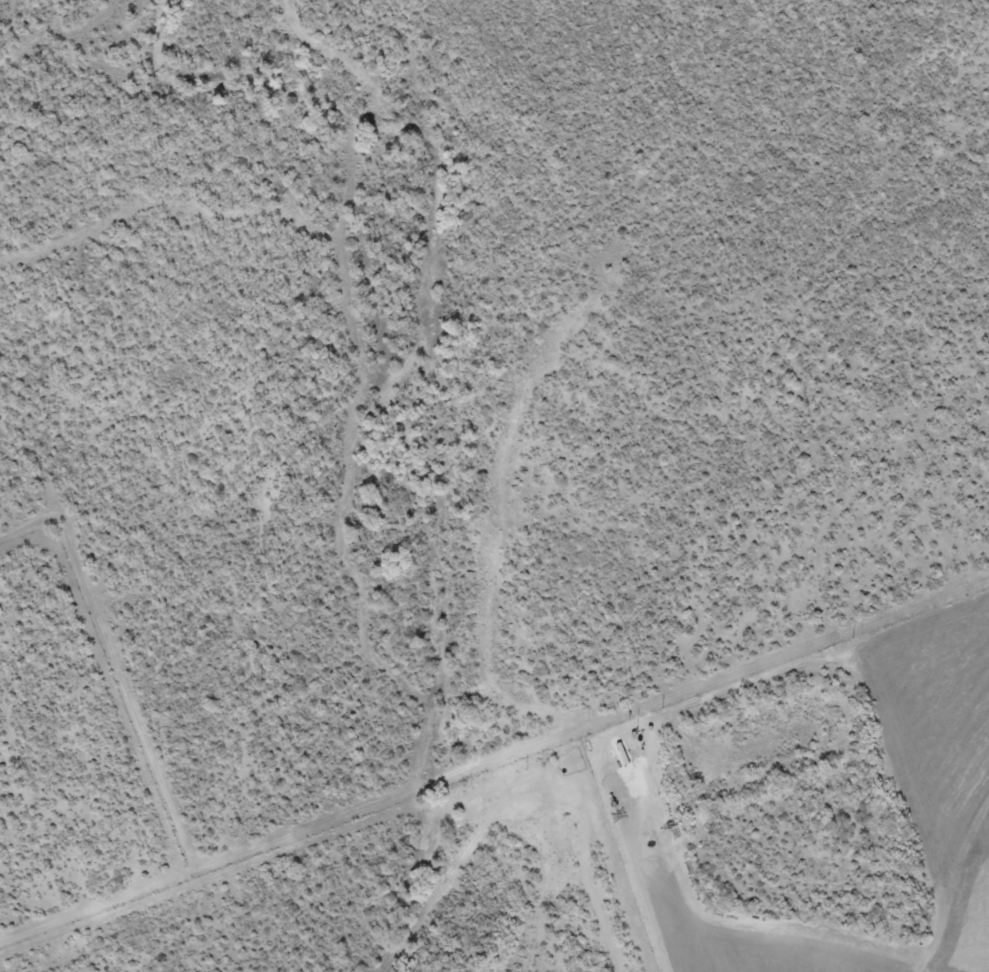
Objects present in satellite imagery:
road: (564, 835)

